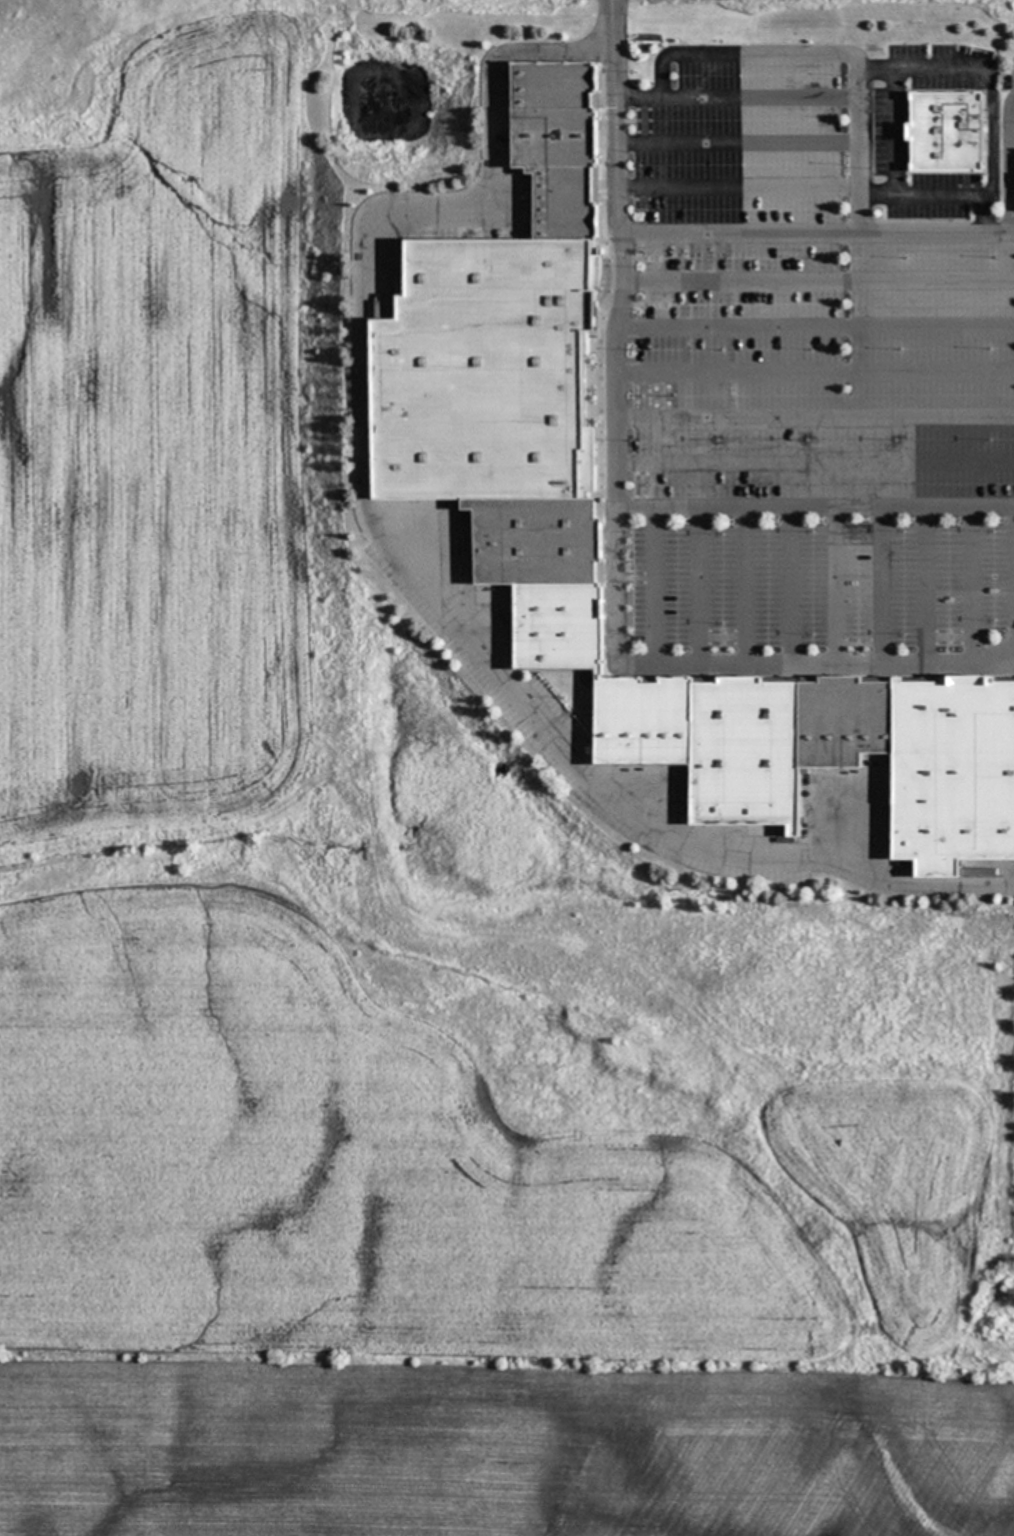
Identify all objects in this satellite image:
building: (948, 132)
road: (1008, 162)
road: (816, 234)
building: (523, 384)
road: (816, 415)
road: (618, 416)
crop: (154, 449)
road: (399, 552)
road: (904, 662)
building: (839, 759)

